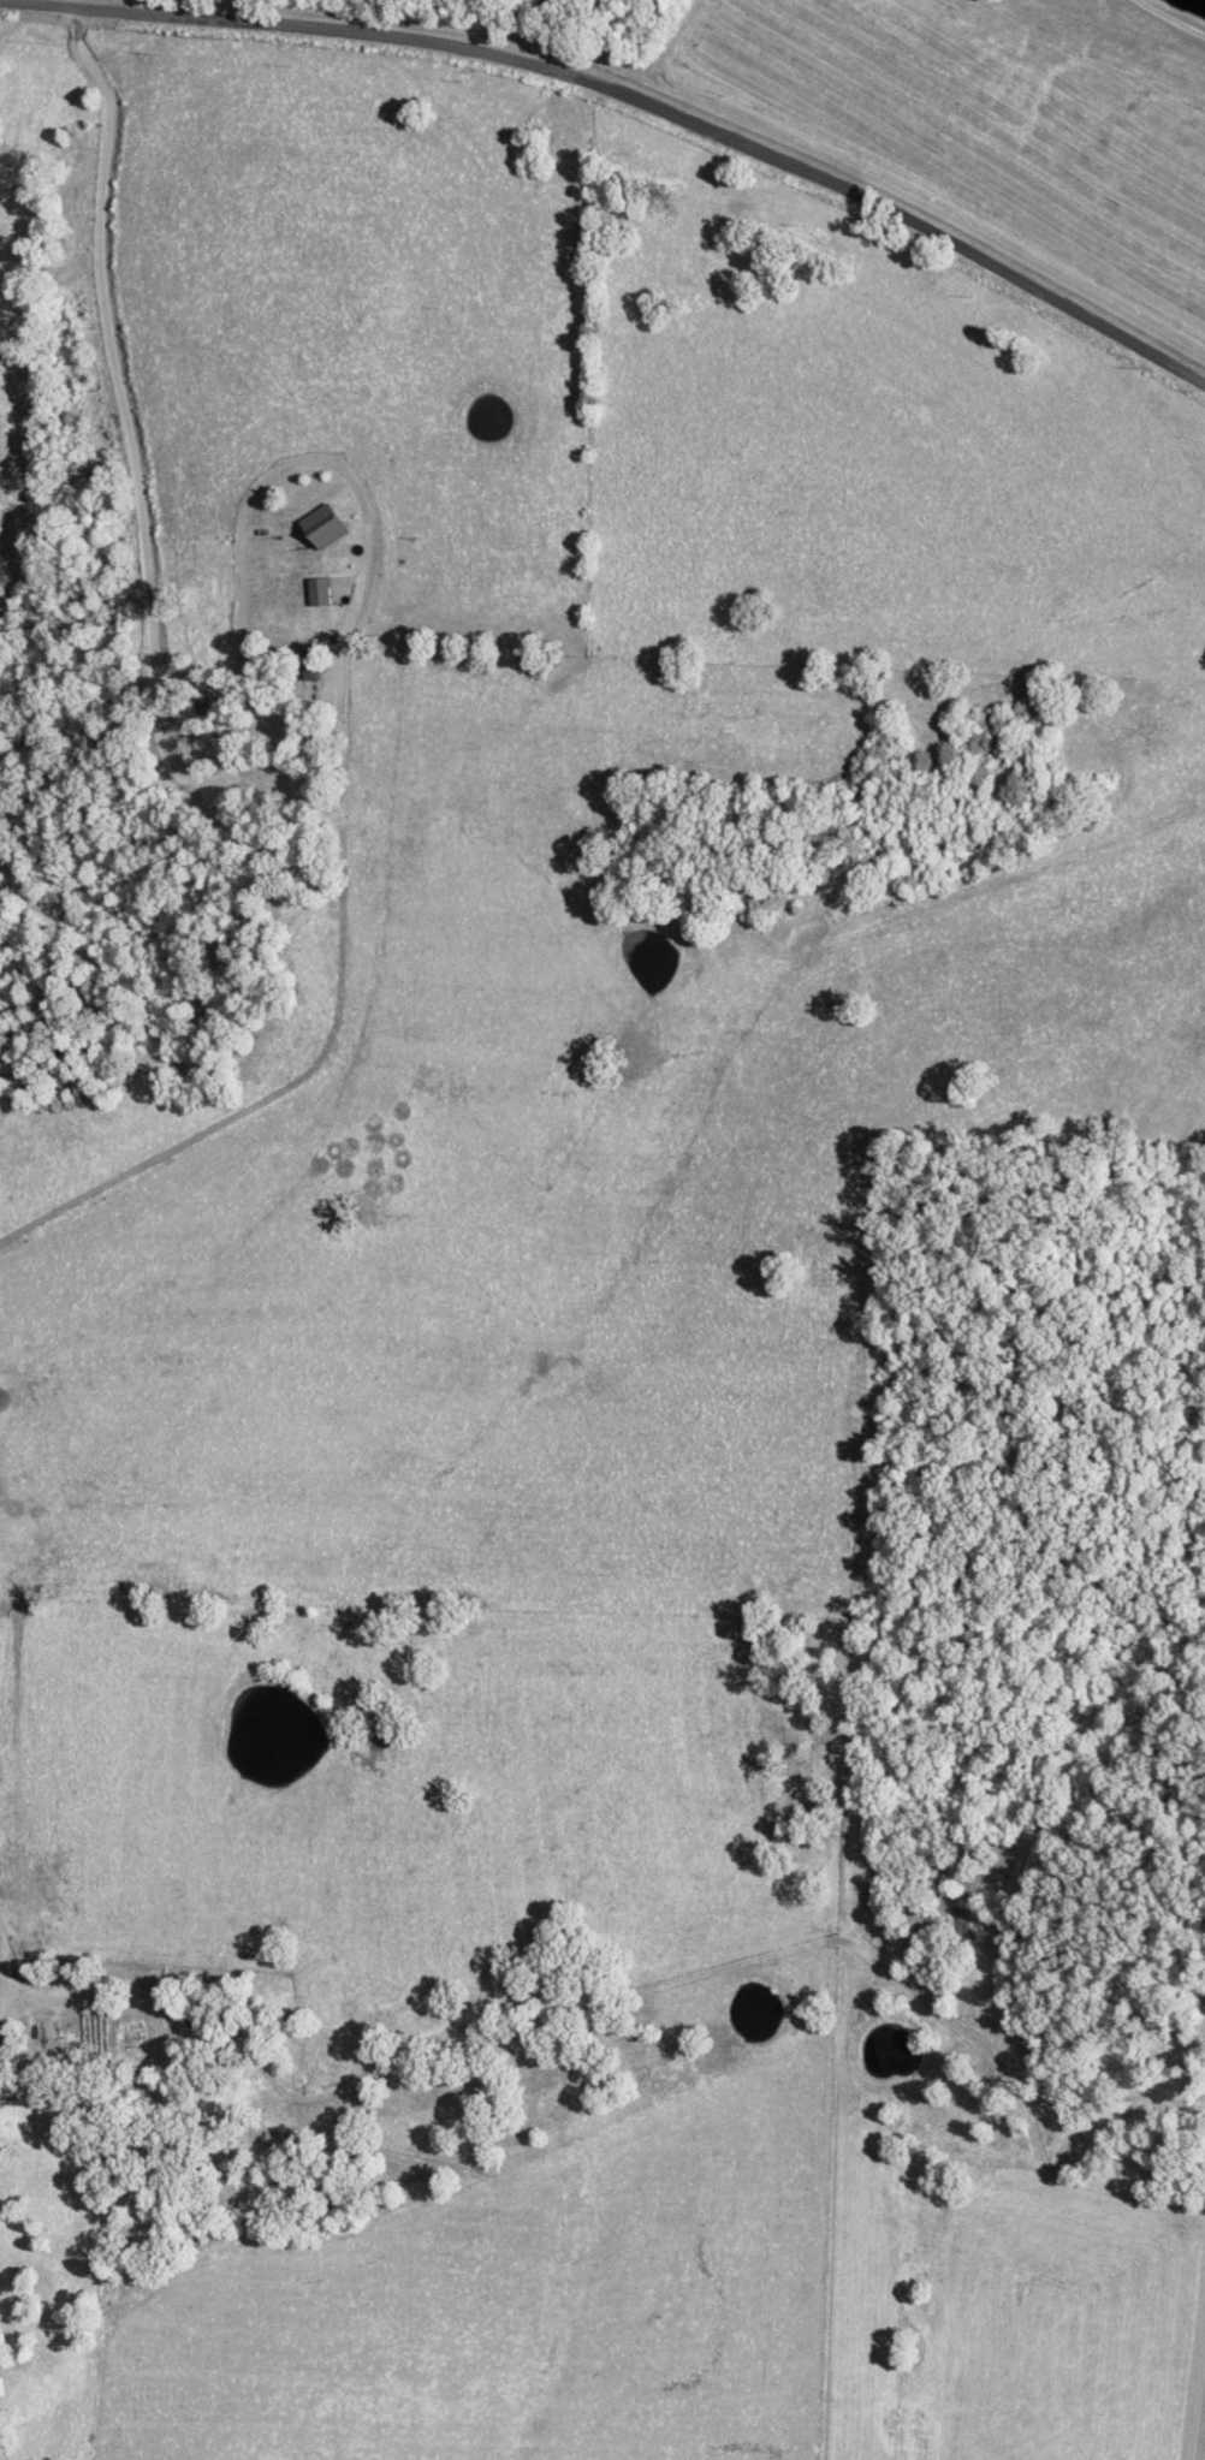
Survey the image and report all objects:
road: (633, 97)
building: (322, 527)
building: (317, 592)
road: (786, 655)
road: (209, 782)
road: (1194, 2369)

